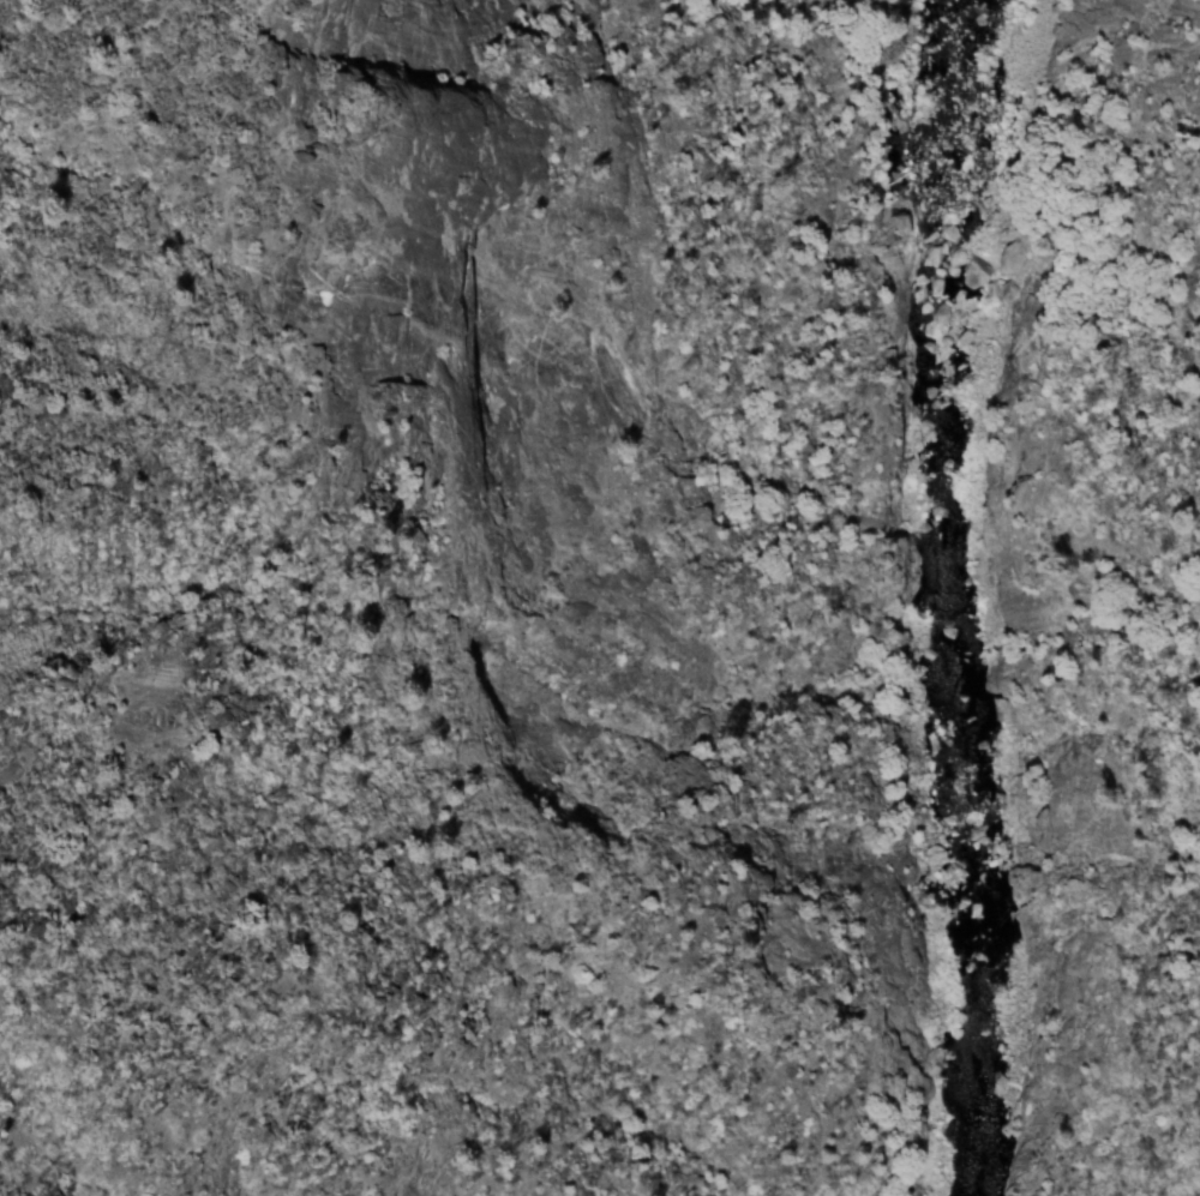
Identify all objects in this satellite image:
river: (960, 595)

